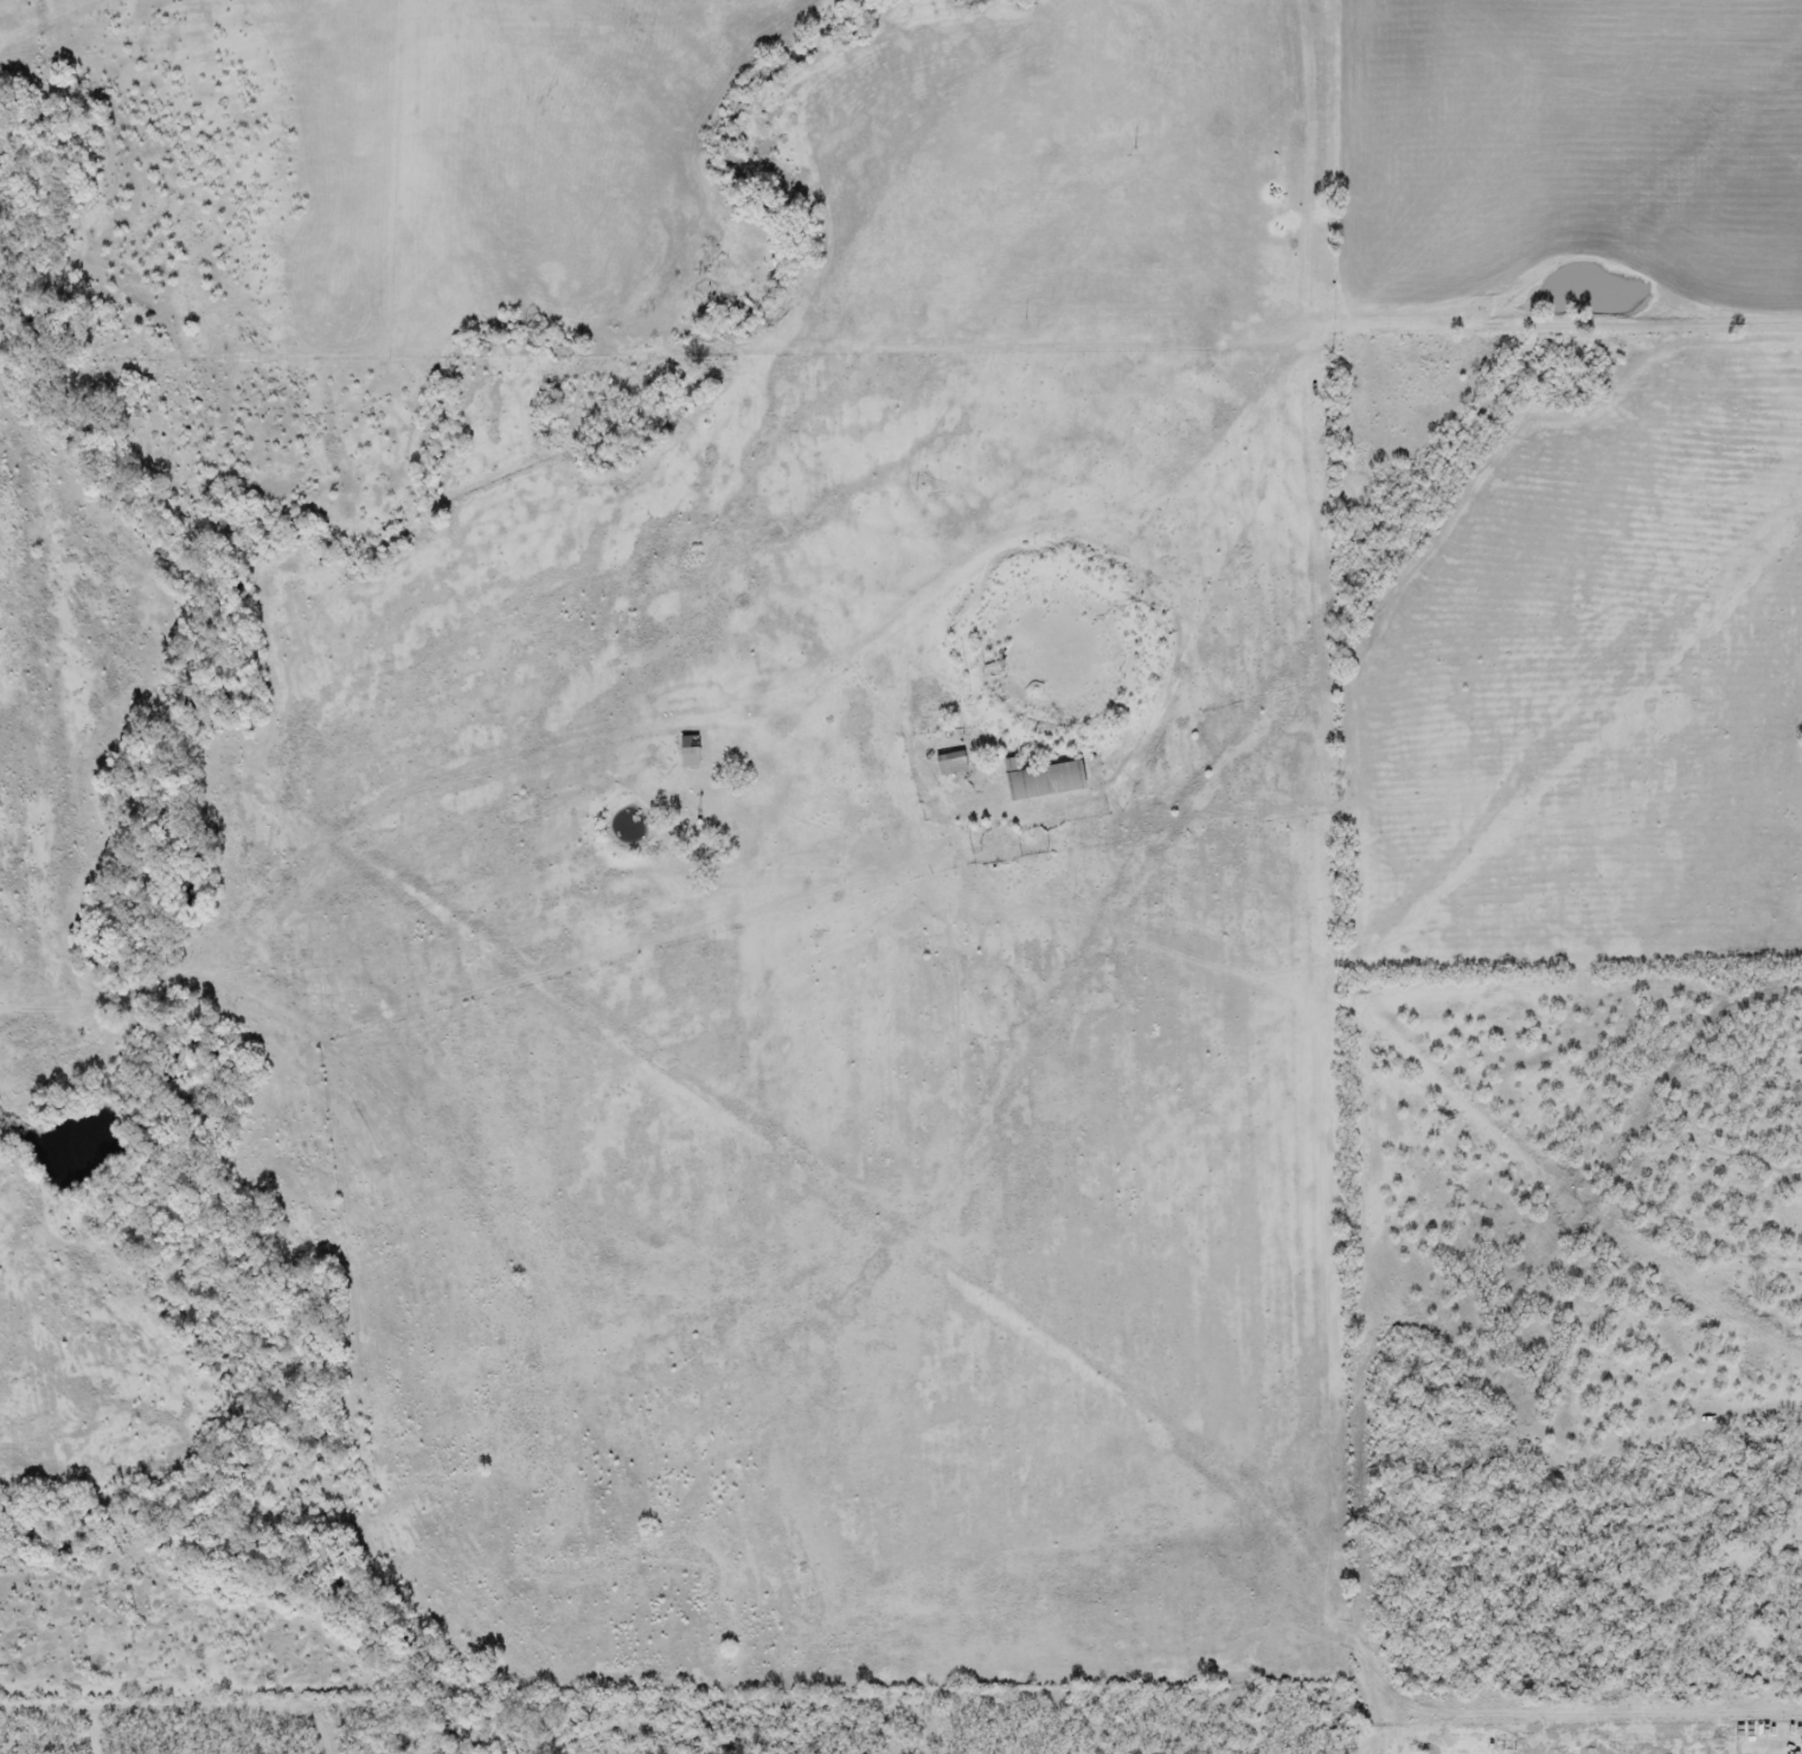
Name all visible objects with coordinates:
building: (686, 753)
road: (306, 930)

